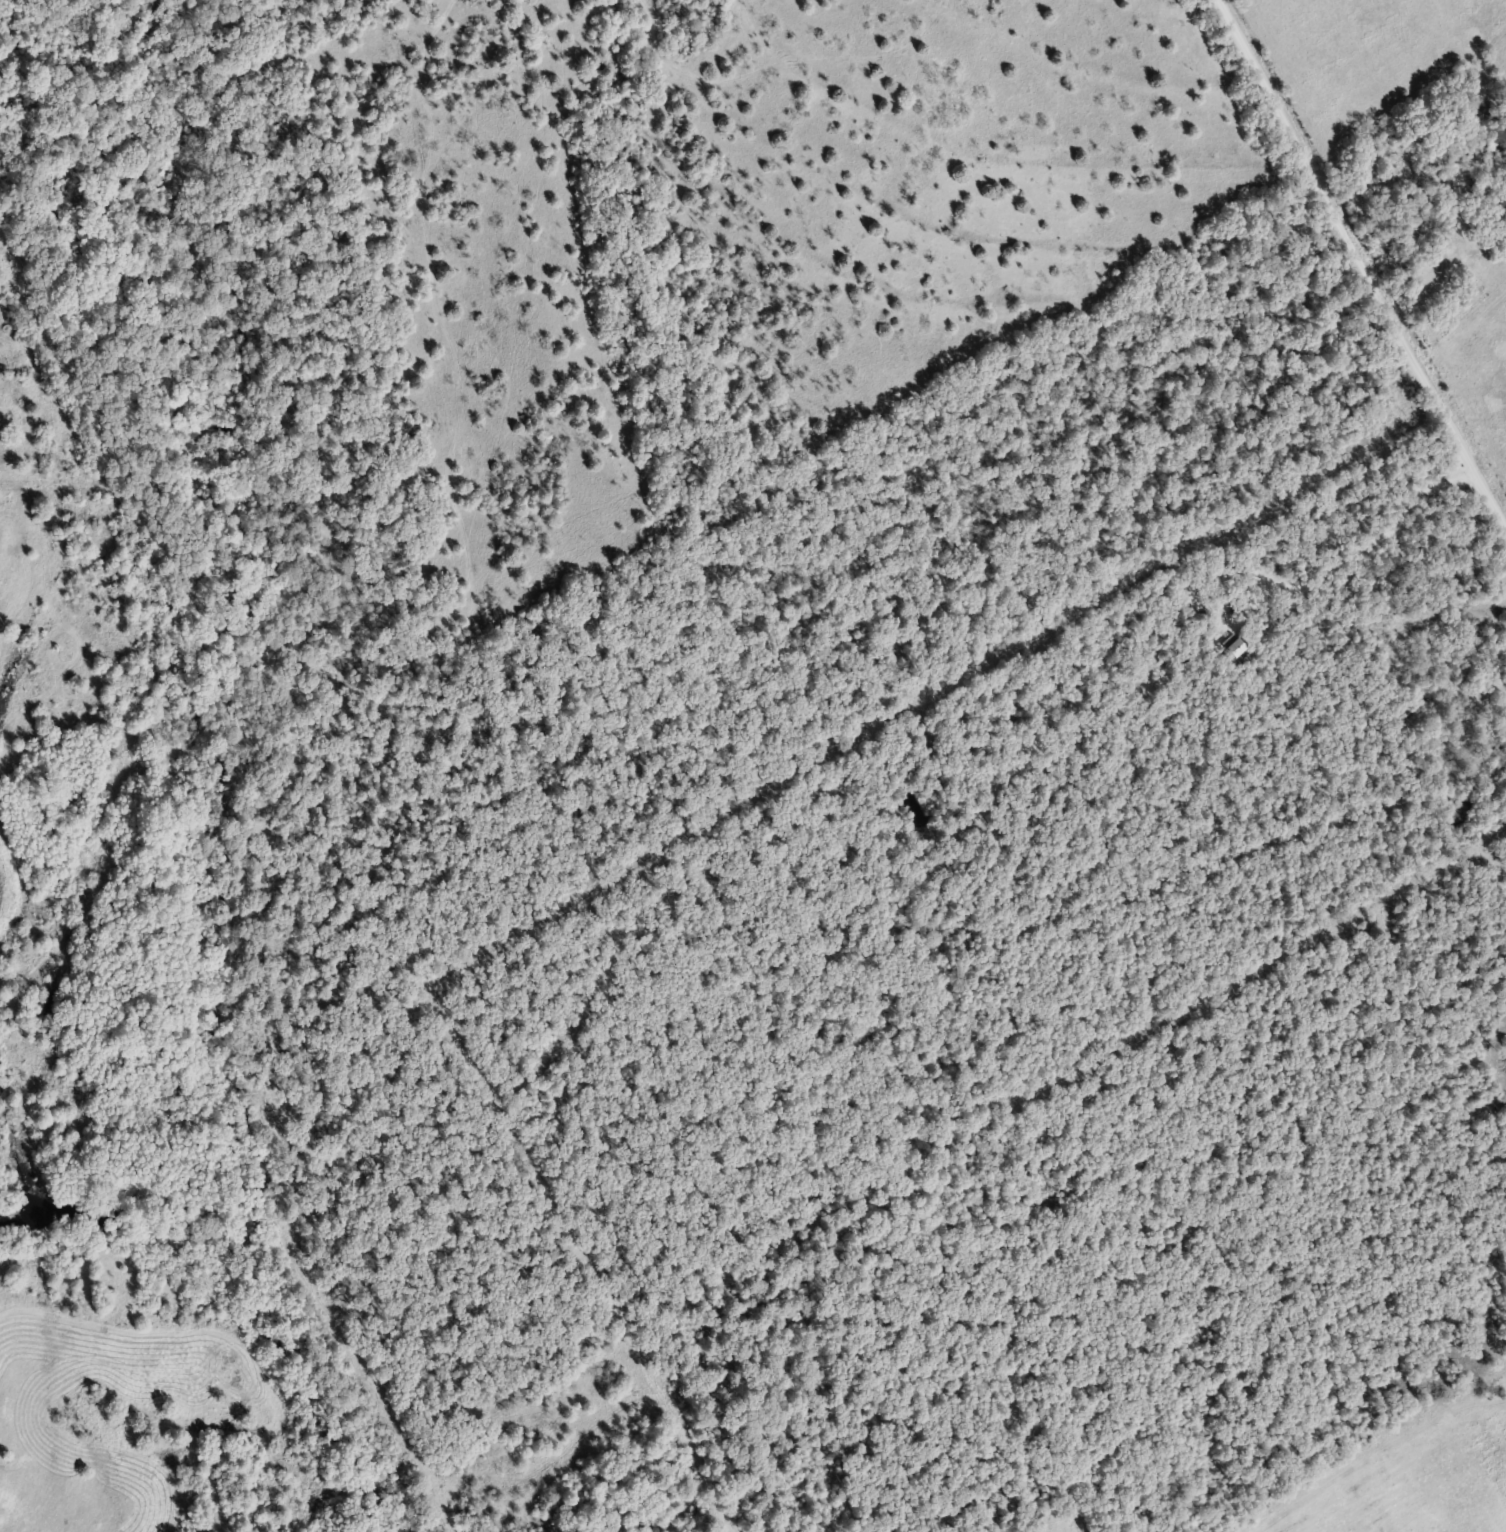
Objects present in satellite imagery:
road: (1364, 260)

